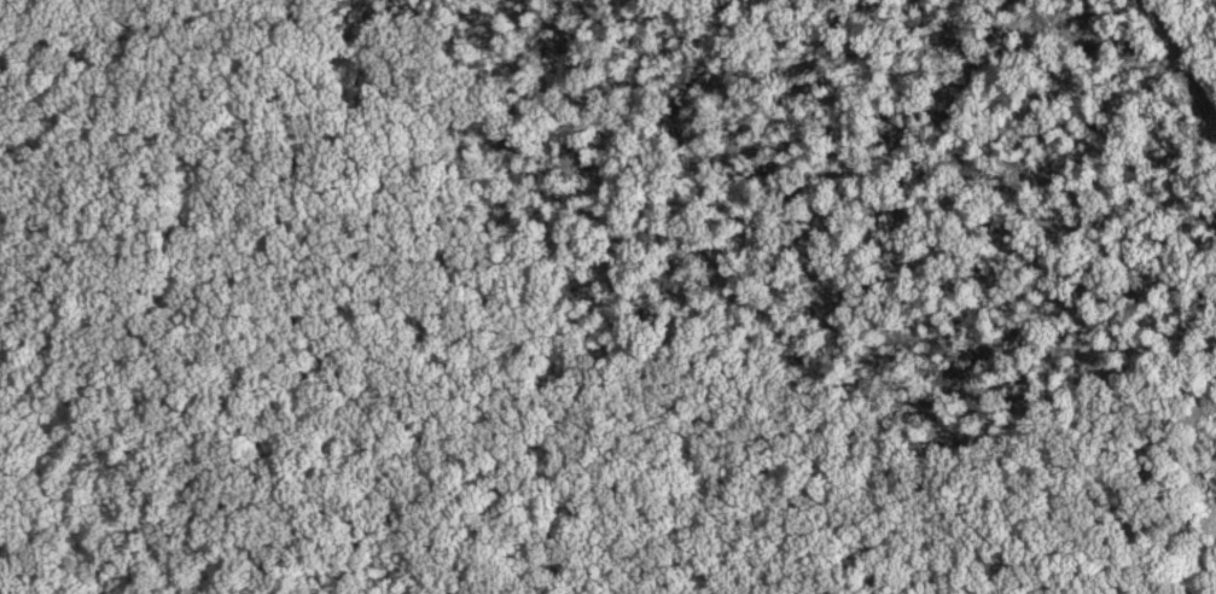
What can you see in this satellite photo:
road: (1174, 69)
road: (1163, 503)

